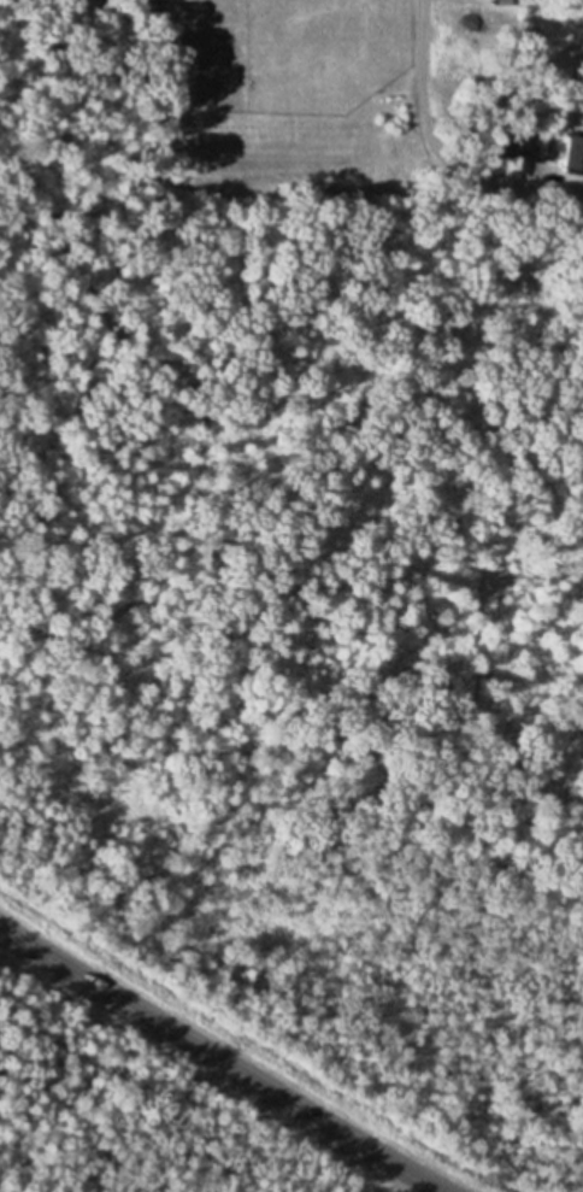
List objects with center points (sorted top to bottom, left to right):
road: (429, 117)
building: (520, 143)
building: (567, 151)
road: (218, 1059)

